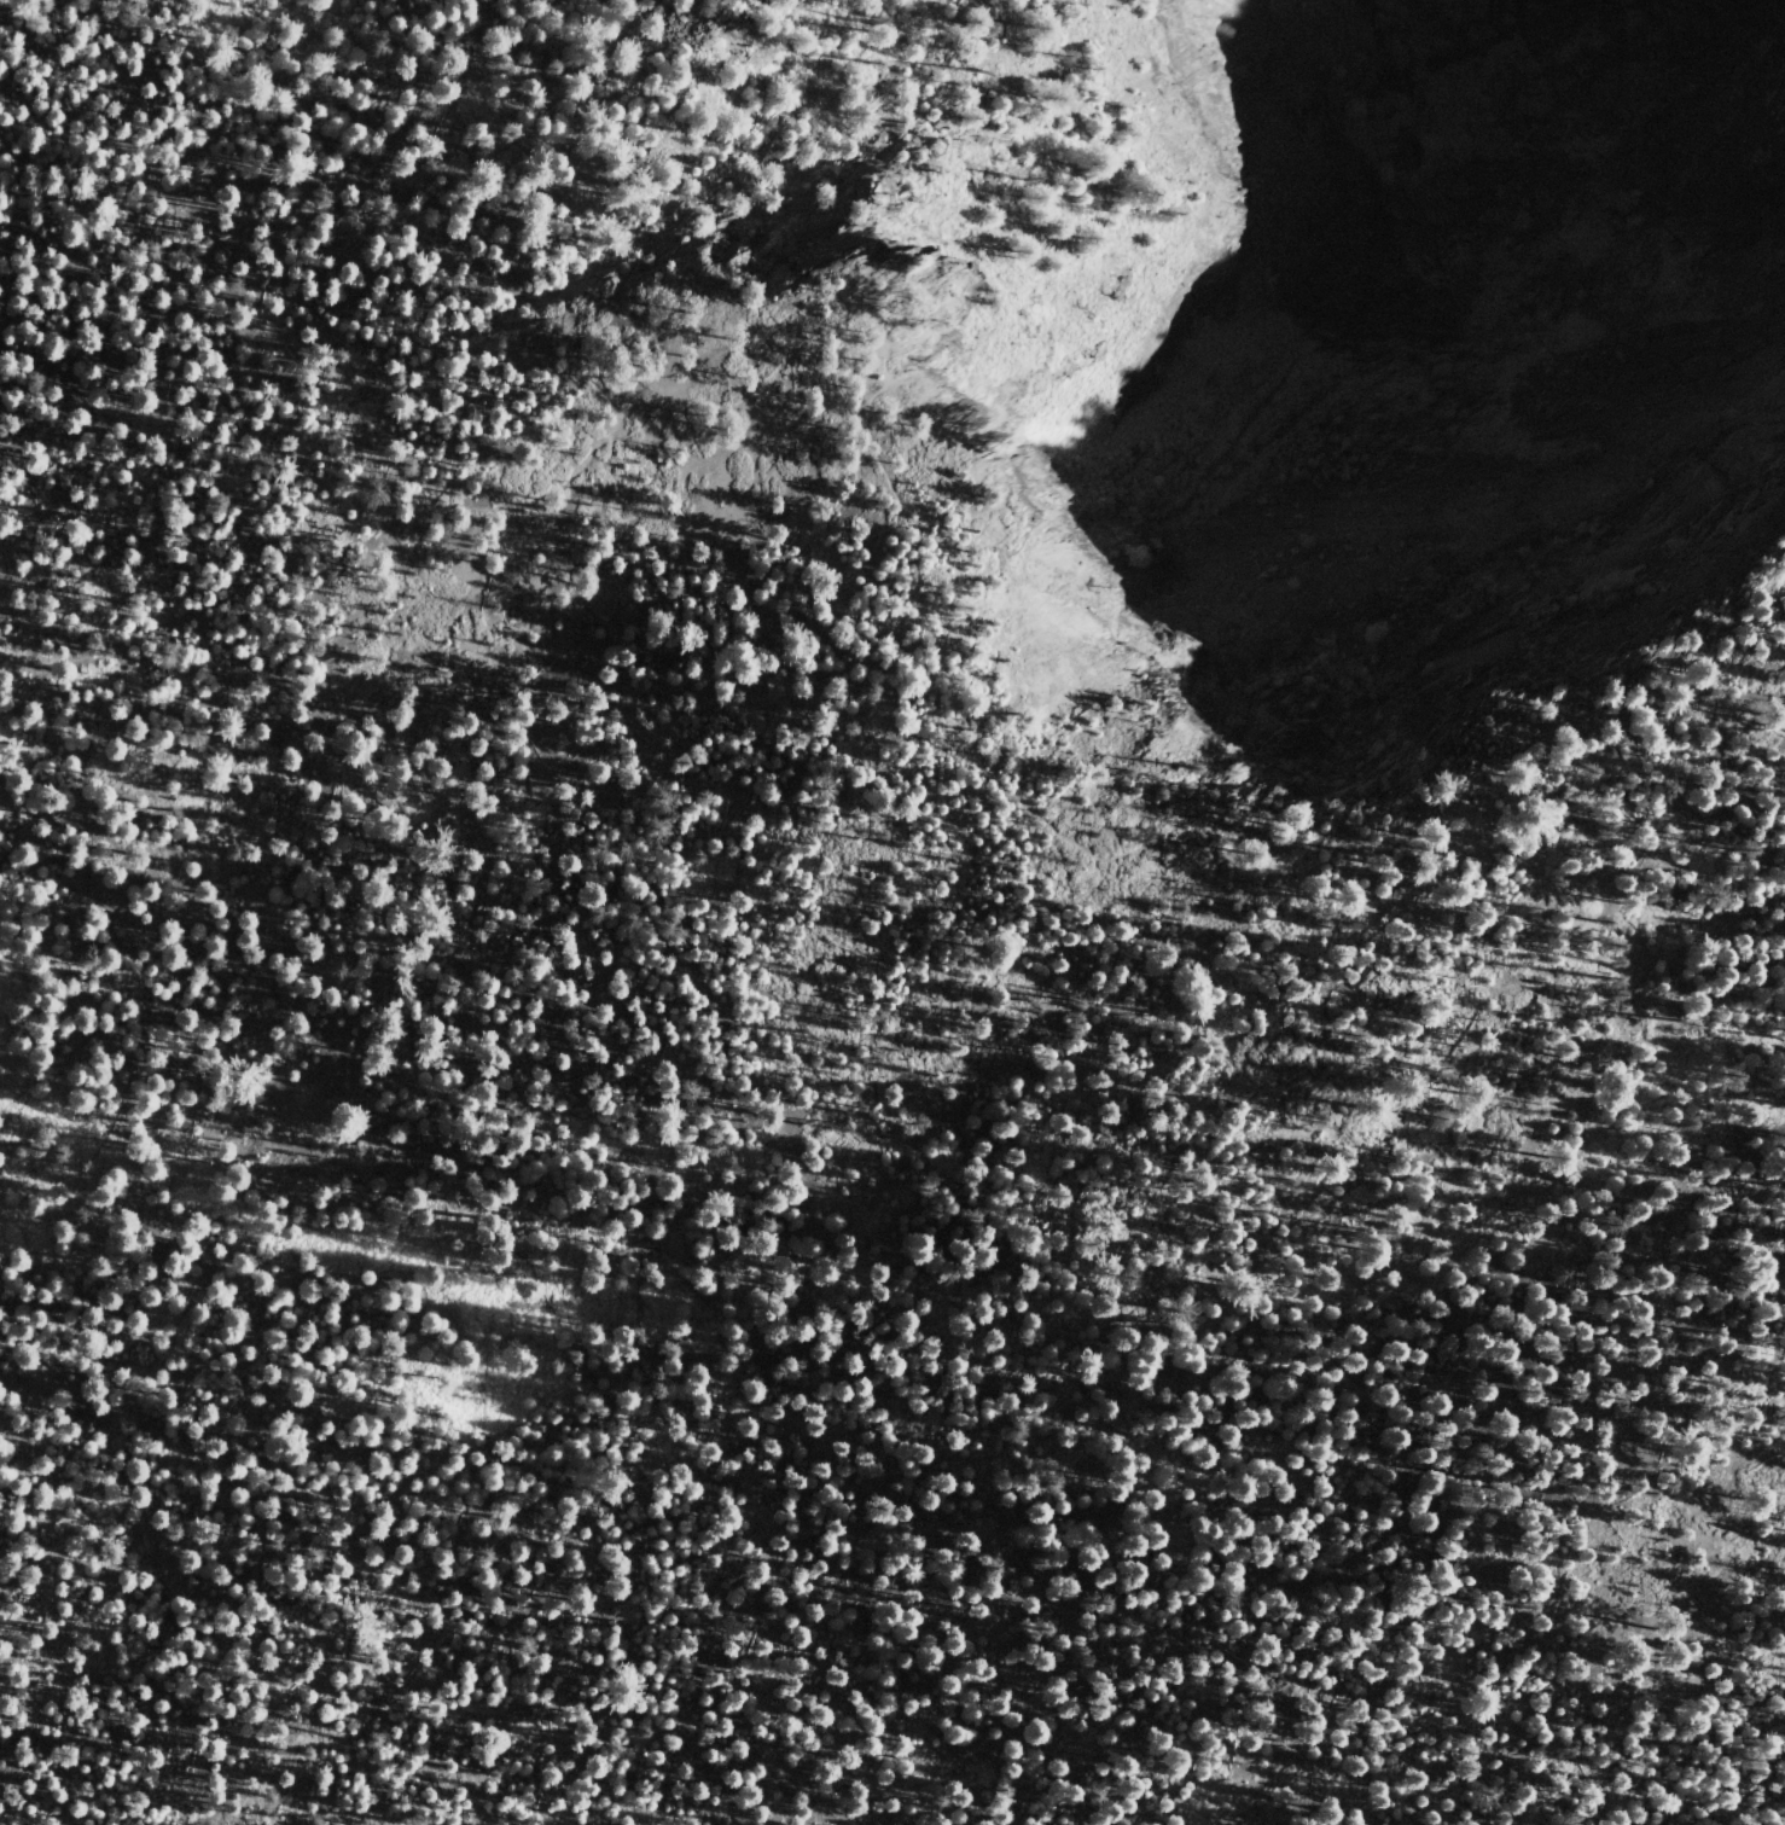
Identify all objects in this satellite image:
road: (914, 554)

